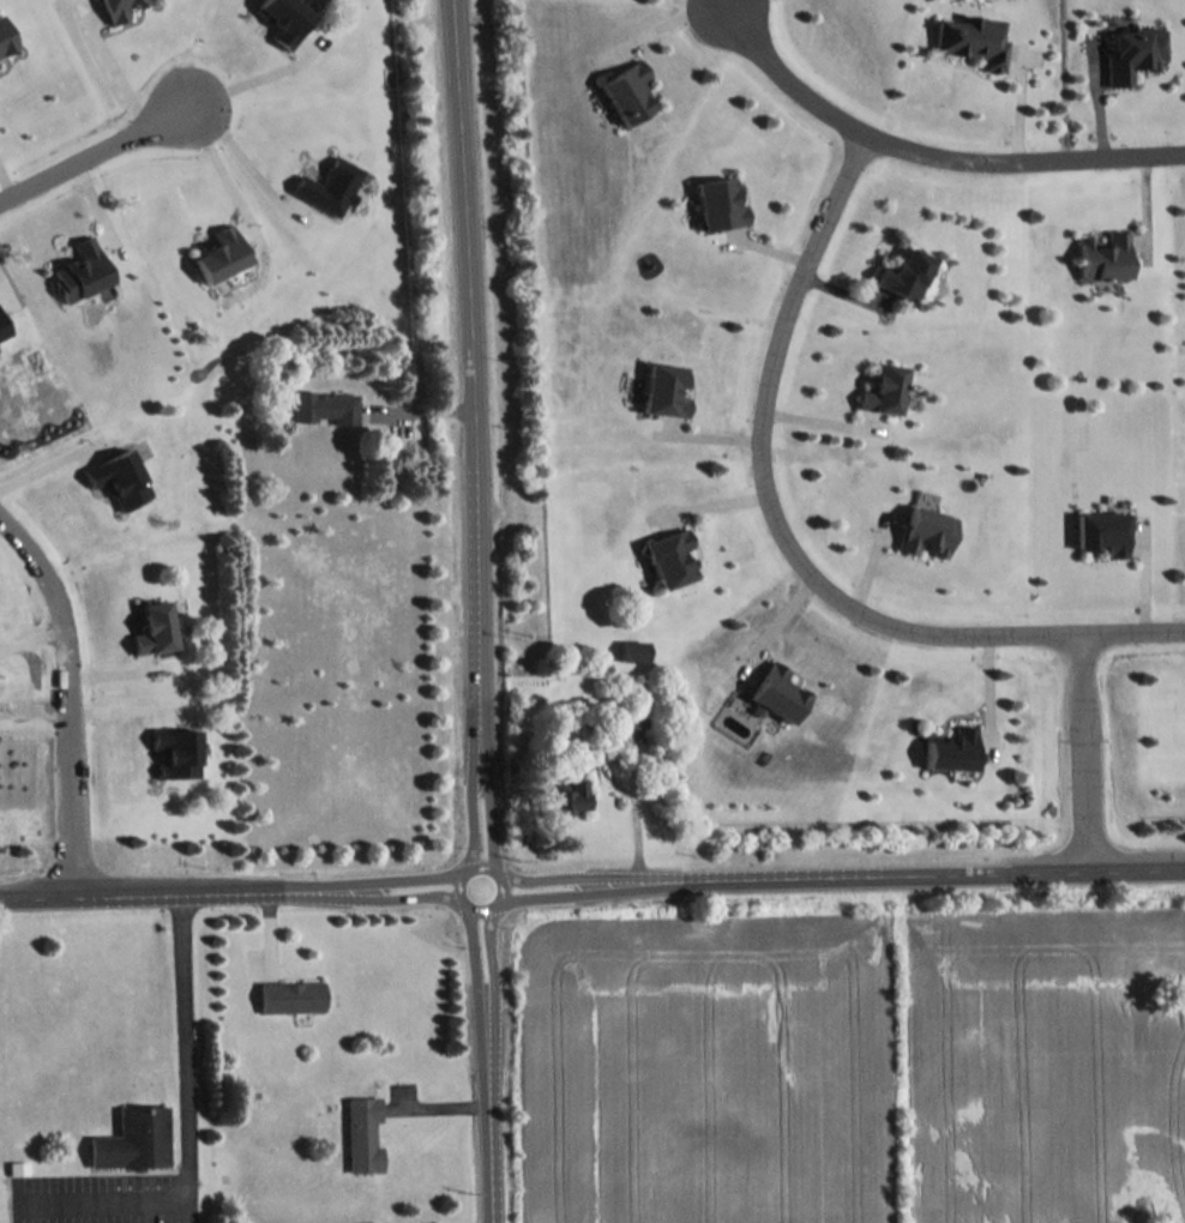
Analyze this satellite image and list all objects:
road: (722, 5)
building: (115, 8)
building: (284, 17)
road: (456, 36)
building: (4, 40)
building: (972, 40)
building: (1131, 52)
road: (124, 79)
road: (1061, 80)
road: (258, 92)
building: (624, 92)
road: (930, 153)
road: (98, 167)
road: (251, 169)
road: (12, 177)
road: (230, 182)
building: (327, 185)
building: (716, 204)
building: (218, 254)
building: (1102, 257)
building: (79, 270)
building: (903, 273)
building: (1, 330)
building: (662, 390)
building: (883, 390)
building: (324, 406)
road: (49, 463)
building: (116, 478)
building: (926, 531)
building: (1101, 531)
road: (789, 541)
building: (668, 558)
building: (154, 627)
road: (475, 647)
building: (632, 650)
building: (776, 692)
road: (71, 695)
building: (634, 718)
building: (950, 749)
building: (175, 752)
road: (1085, 755)
road: (634, 767)
building: (567, 795)
road: (591, 887)
building: (289, 995)
road: (180, 1047)
building: (361, 1133)
building: (132, 1139)
road: (100, 1197)

